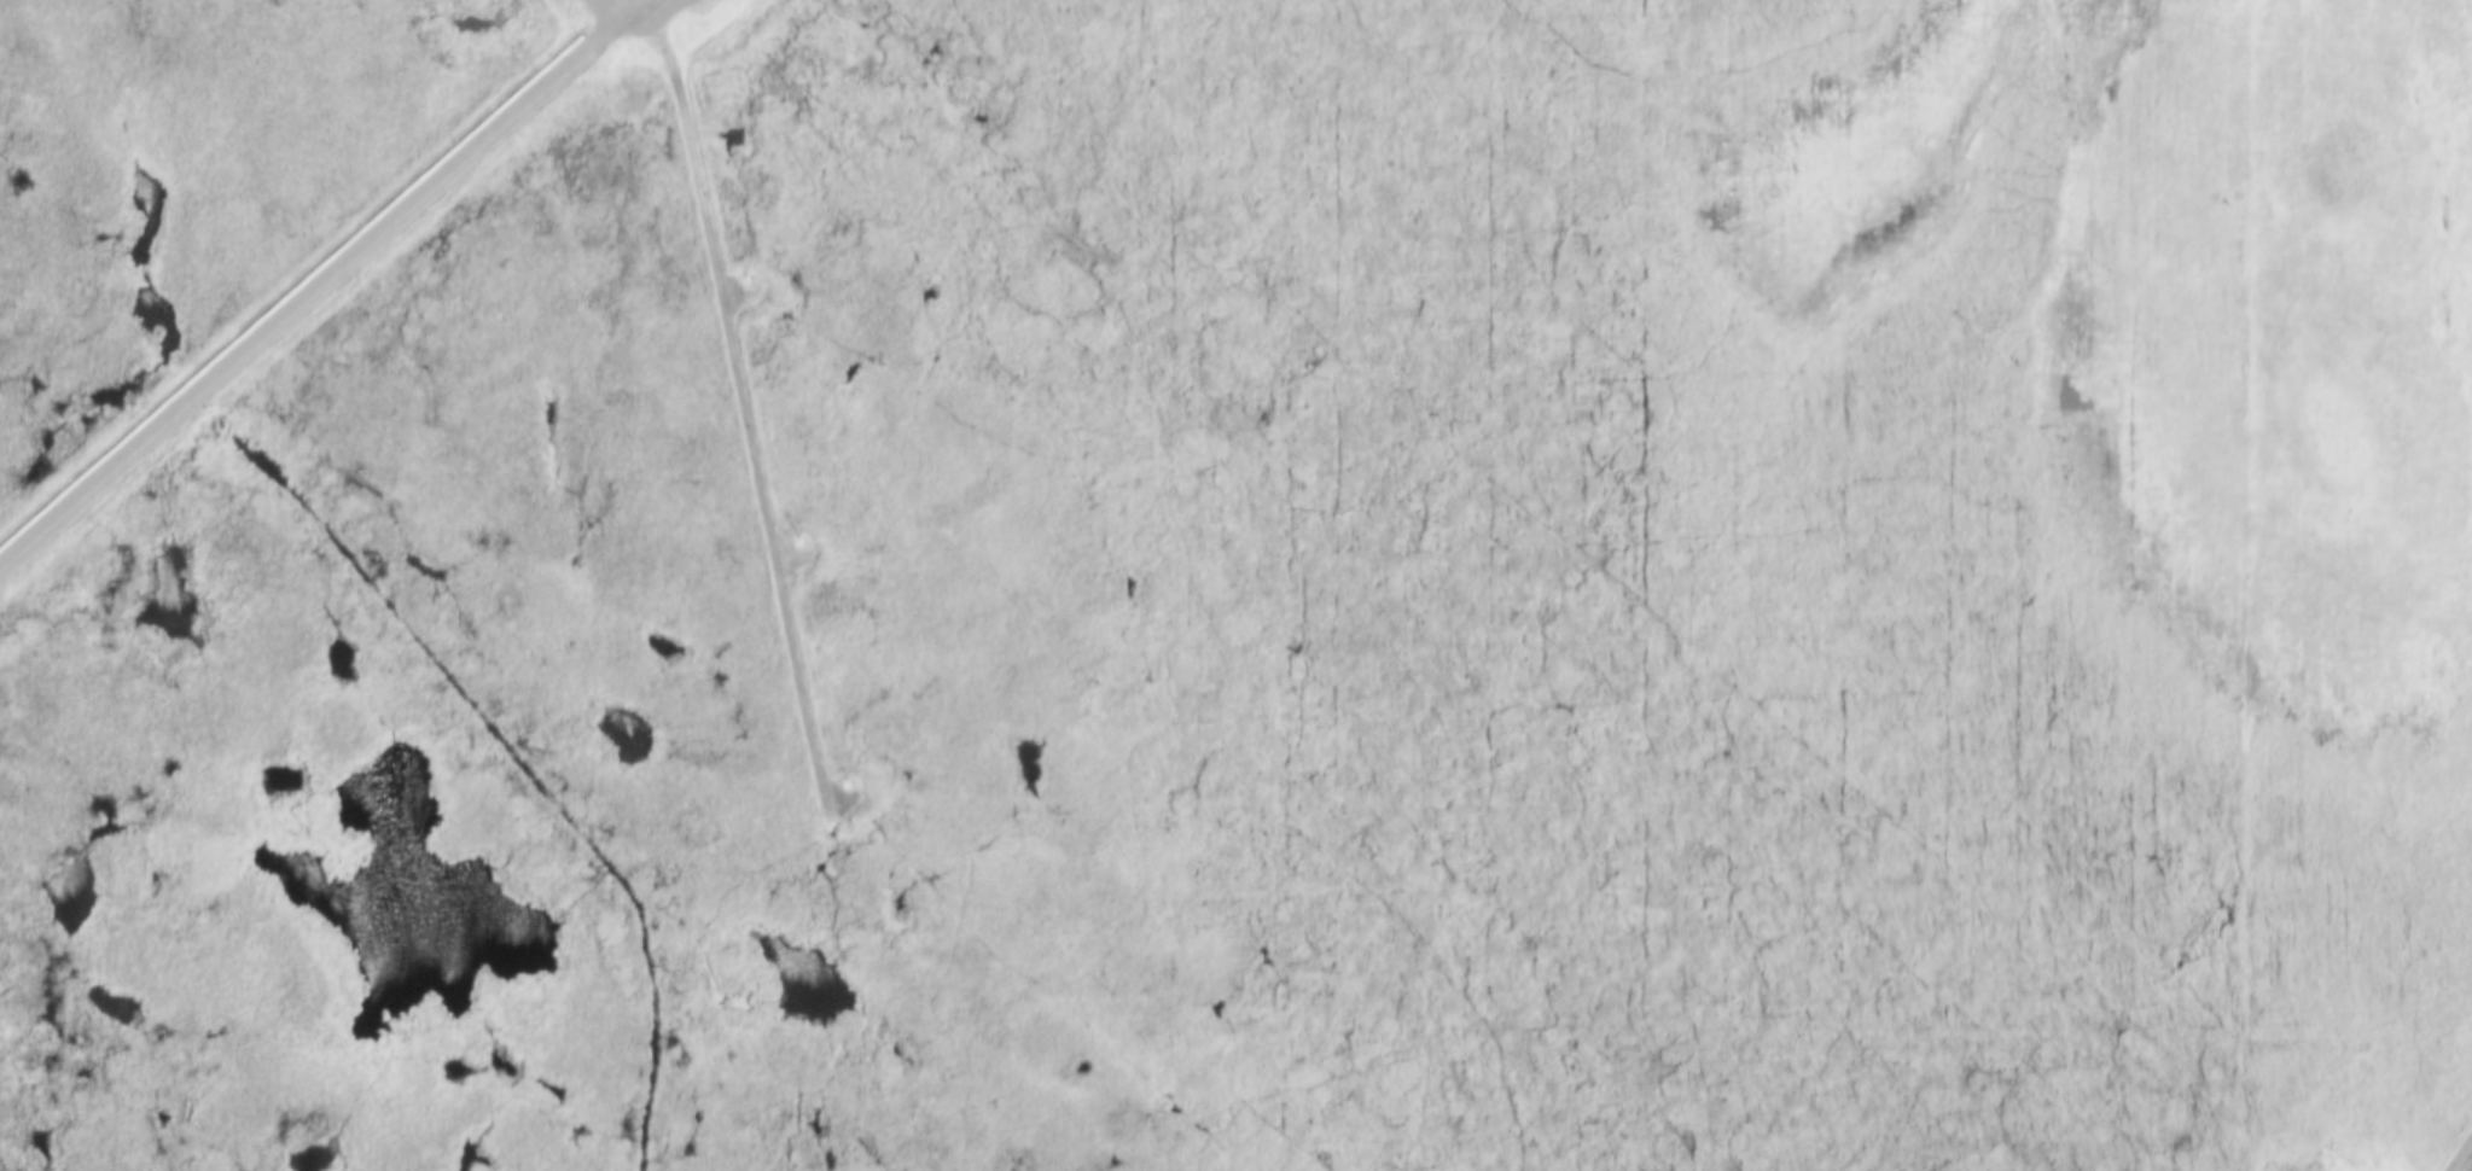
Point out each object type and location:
road: (623, 2)
road: (628, 2)
road: (310, 286)
road: (733, 402)
road: (2465, 1160)

